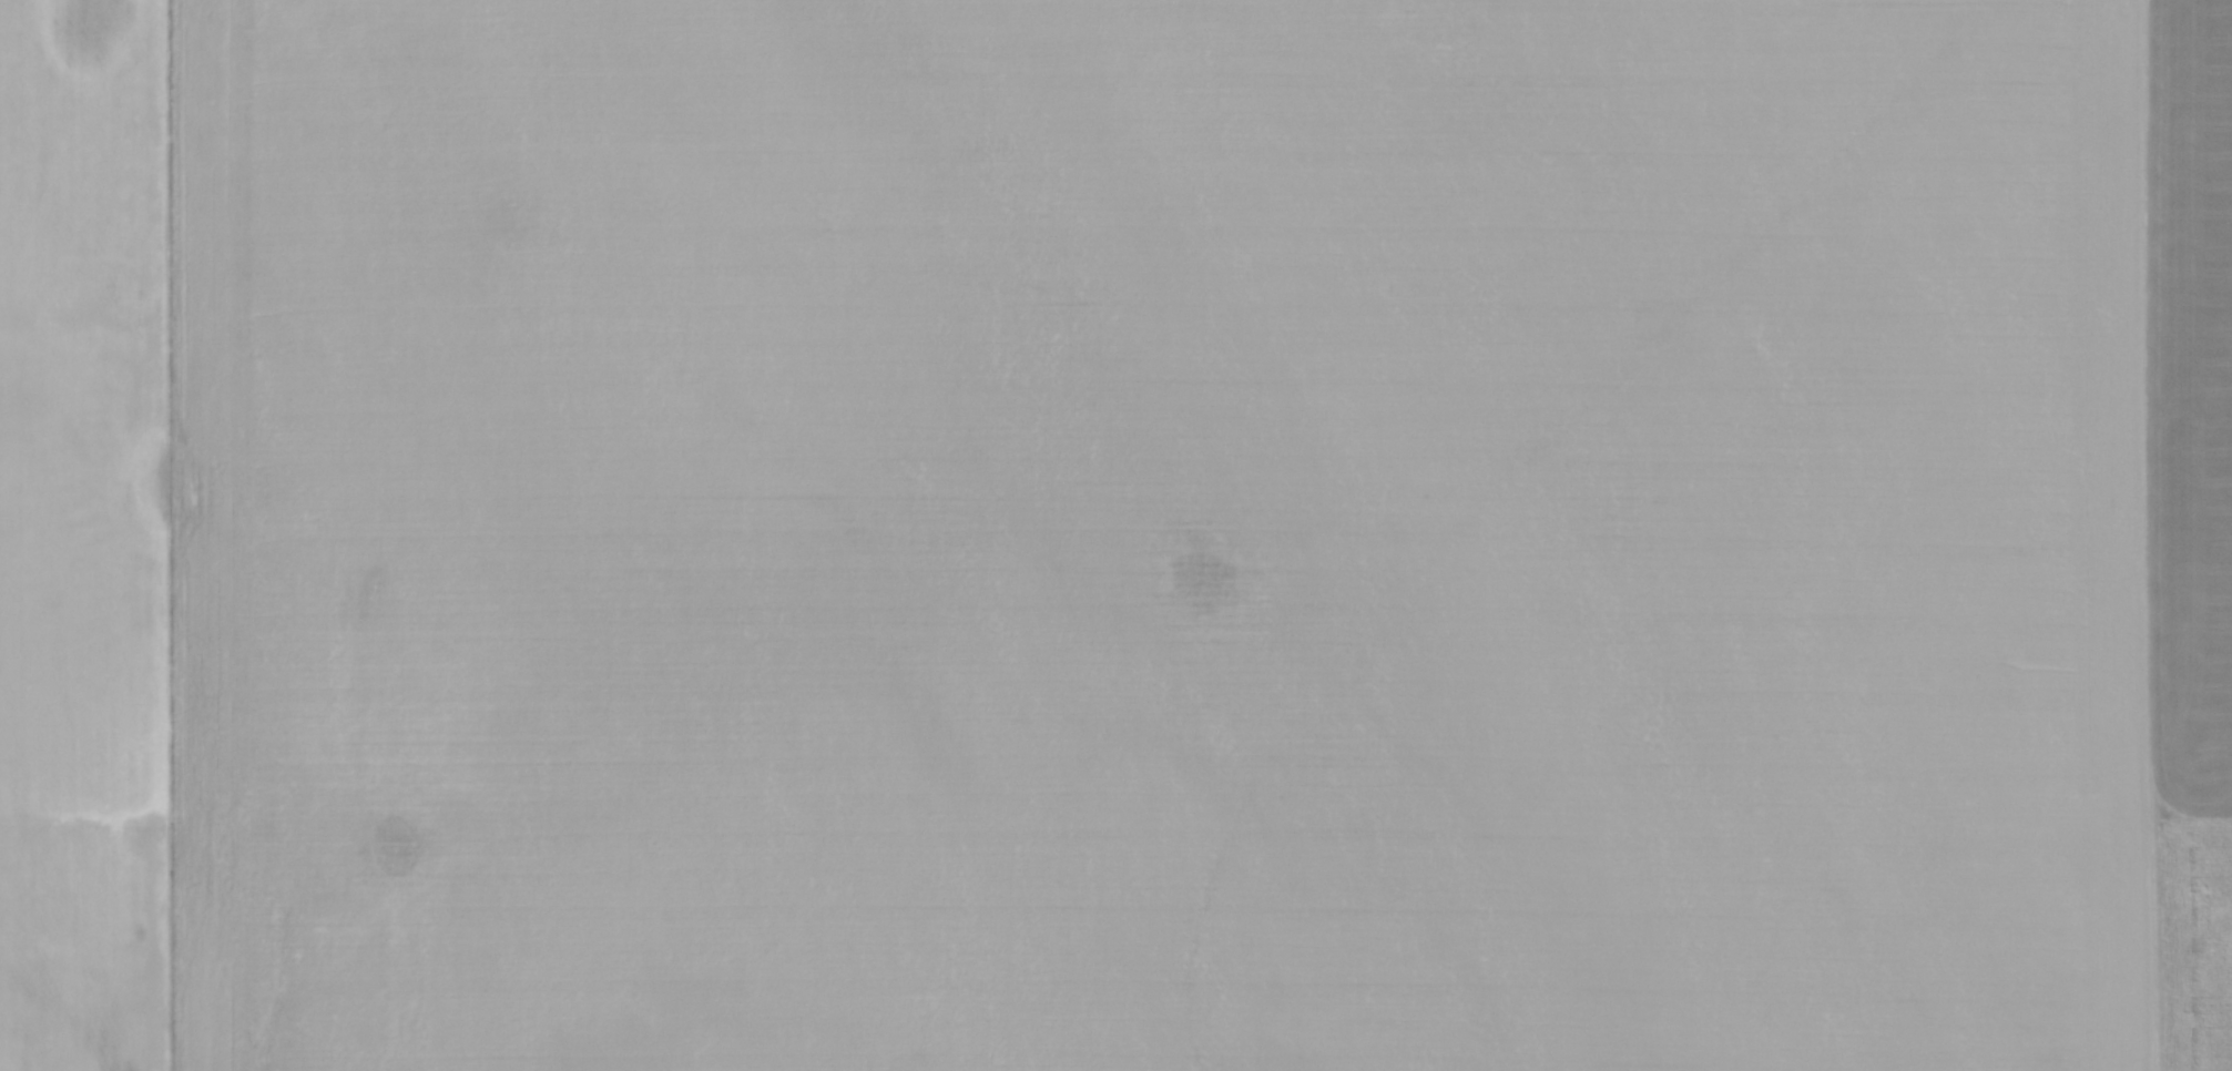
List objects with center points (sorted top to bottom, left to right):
crop: (1115, 535)
road: (2148, 535)

